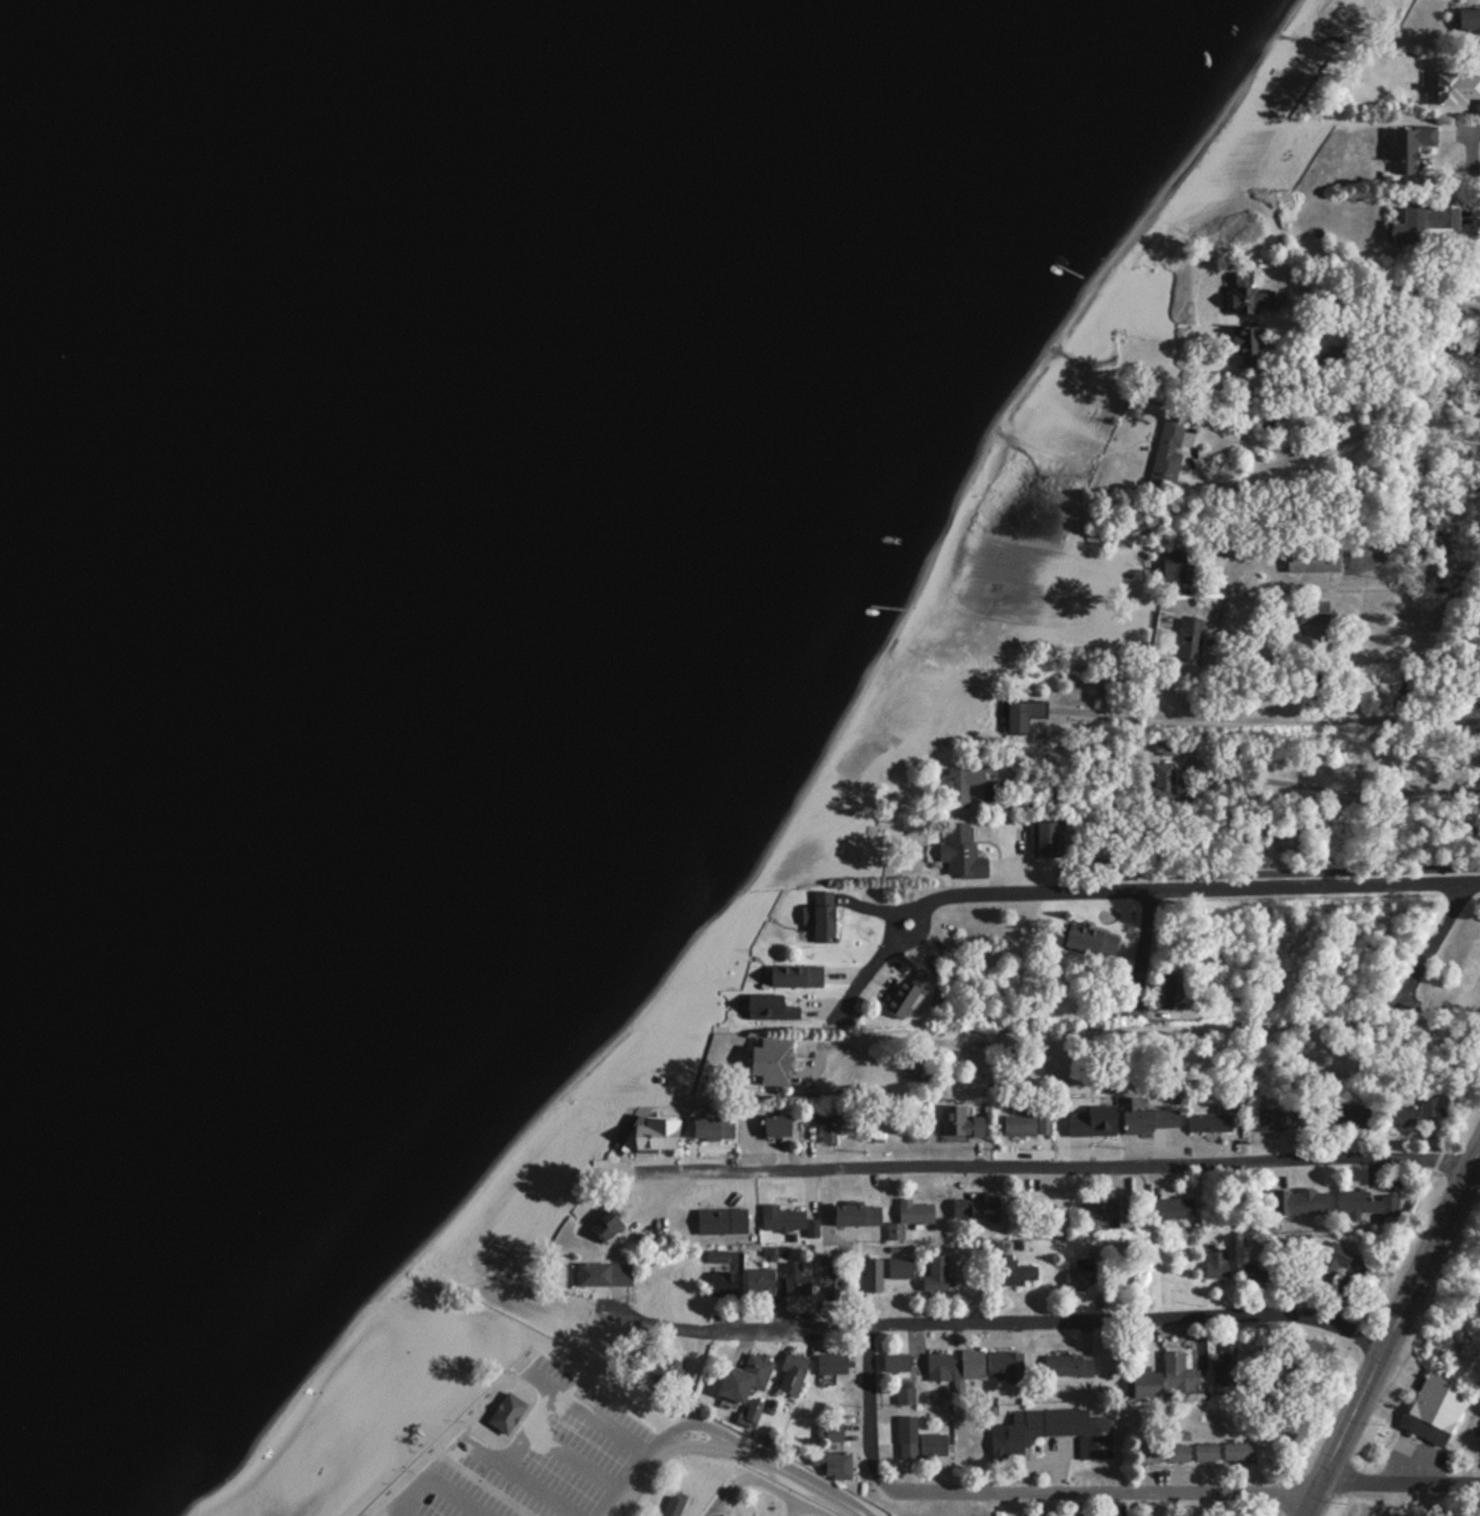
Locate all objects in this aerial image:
building: (1467, 19)
building: (1457, 89)
road: (1471, 134)
building: (1407, 147)
building: (1405, 229)
building: (1252, 296)
road: (1396, 297)
building: (1242, 346)
road: (1353, 436)
building: (1168, 451)
building: (1311, 559)
building: (1176, 568)
road: (1401, 569)
building: (1312, 613)
building: (1188, 640)
road: (1394, 651)
building: (1022, 716)
road: (1269, 717)
building: (1164, 780)
building: (963, 785)
road: (1339, 789)
building: (1044, 838)
building: (961, 852)
road: (1131, 888)
building: (822, 916)
building: (1090, 940)
building: (792, 976)
building: (1173, 990)
building: (901, 998)
building: (769, 1006)
road: (1184, 1031)
building: (768, 1060)
building: (917, 1068)
building: (1430, 1106)
building: (1147, 1116)
building: (1349, 1116)
building: (1398, 1116)
building: (1274, 1117)
building: (1209, 1121)
building: (960, 1123)
building: (773, 1125)
building: (1019, 1125)
building: (712, 1127)
building: (834, 1127)
building: (652, 1133)
road: (1045, 1166)
building: (1299, 1201)
building: (1366, 1202)
road: (664, 1203)
building: (974, 1207)
building: (1172, 1208)
building: (1102, 1214)
building: (910, 1217)
building: (783, 1218)
building: (721, 1221)
building: (603, 1225)
building: (1217, 1264)
building: (1328, 1269)
building: (1014, 1271)
building: (603, 1273)
building: (936, 1273)
building: (1258, 1273)
building: (873, 1275)
building: (1081, 1275)
building: (796, 1280)
building: (832, 1280)
building: (761, 1281)
building: (723, 1284)
road: (993, 1321)
road: (1393, 1331)
building: (894, 1363)
building: (832, 1364)
building: (1007, 1365)
building: (1069, 1365)
building: (937, 1366)
building: (1226, 1366)
building: (968, 1367)
building: (793, 1373)
building: (744, 1376)
building: (1170, 1377)
building: (905, 1395)
building: (1434, 1408)
building: (753, 1410)
building: (506, 1412)
road: (872, 1412)
road: (595, 1415)
park: (479, 1422)
road: (517, 1424)
building: (1053, 1431)
building: (834, 1432)
road: (731, 1439)
road: (444, 1441)
building: (924, 1446)
building: (1206, 1451)
building: (1178, 1452)
building: (1239, 1452)
building: (1149, 1453)
parking lot: (537, 1457)
road: (580, 1458)
building: (833, 1462)
road: (508, 1464)
road: (444, 1481)
road: (401, 1482)
road: (1187, 1490)
road: (787, 1494)
road: (228, 1495)
road: (729, 1499)
building: (672, 1503)
road: (795, 1509)
road: (368, 1515)

